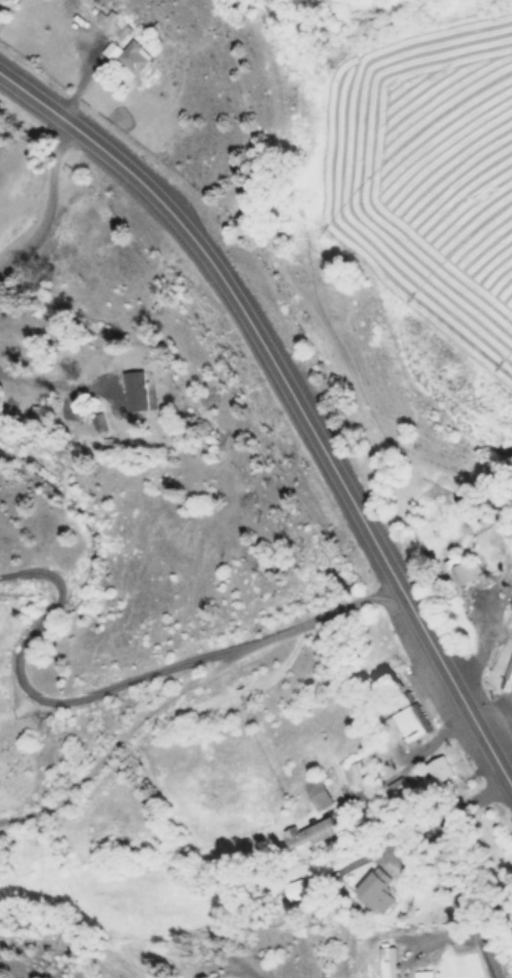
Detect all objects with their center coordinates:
building: (8, 0)
building: (1, 1)
building: (121, 61)
road: (69, 121)
building: (127, 393)
building: (93, 423)
road: (335, 469)
building: (461, 570)
building: (510, 603)
building: (509, 670)
road: (129, 678)
building: (409, 722)
road: (124, 733)
building: (436, 773)
building: (358, 774)
building: (399, 788)
building: (313, 796)
building: (306, 835)
road: (458, 867)
building: (293, 890)
building: (373, 892)
building: (386, 962)
building: (421, 974)
building: (211, 977)
building: (220, 977)

